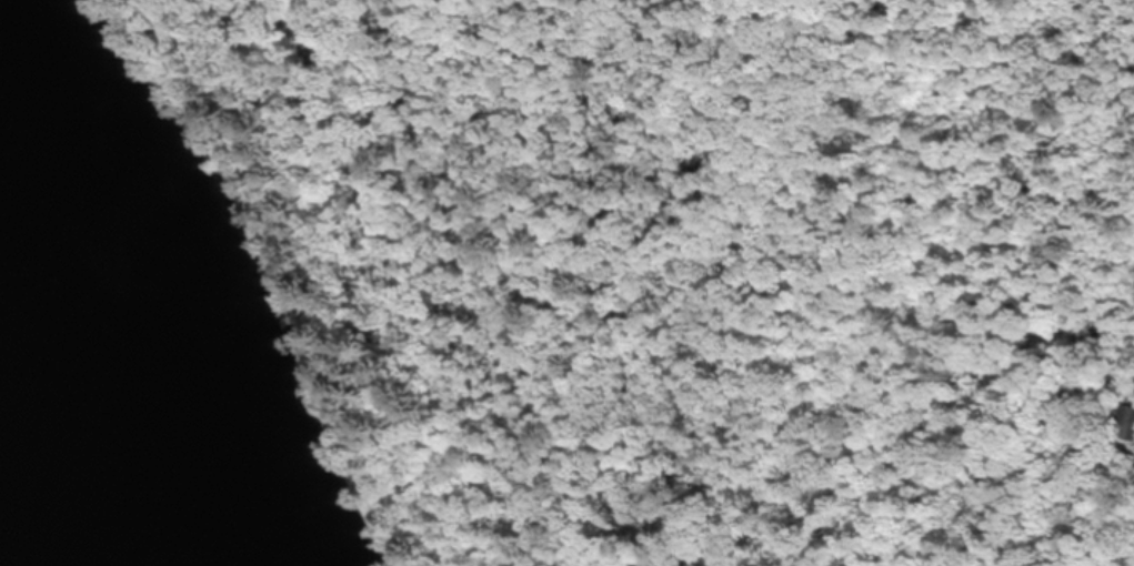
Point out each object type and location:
road: (599, 283)
river: (71, 398)
building: (1133, 423)
park: (51, 453)

